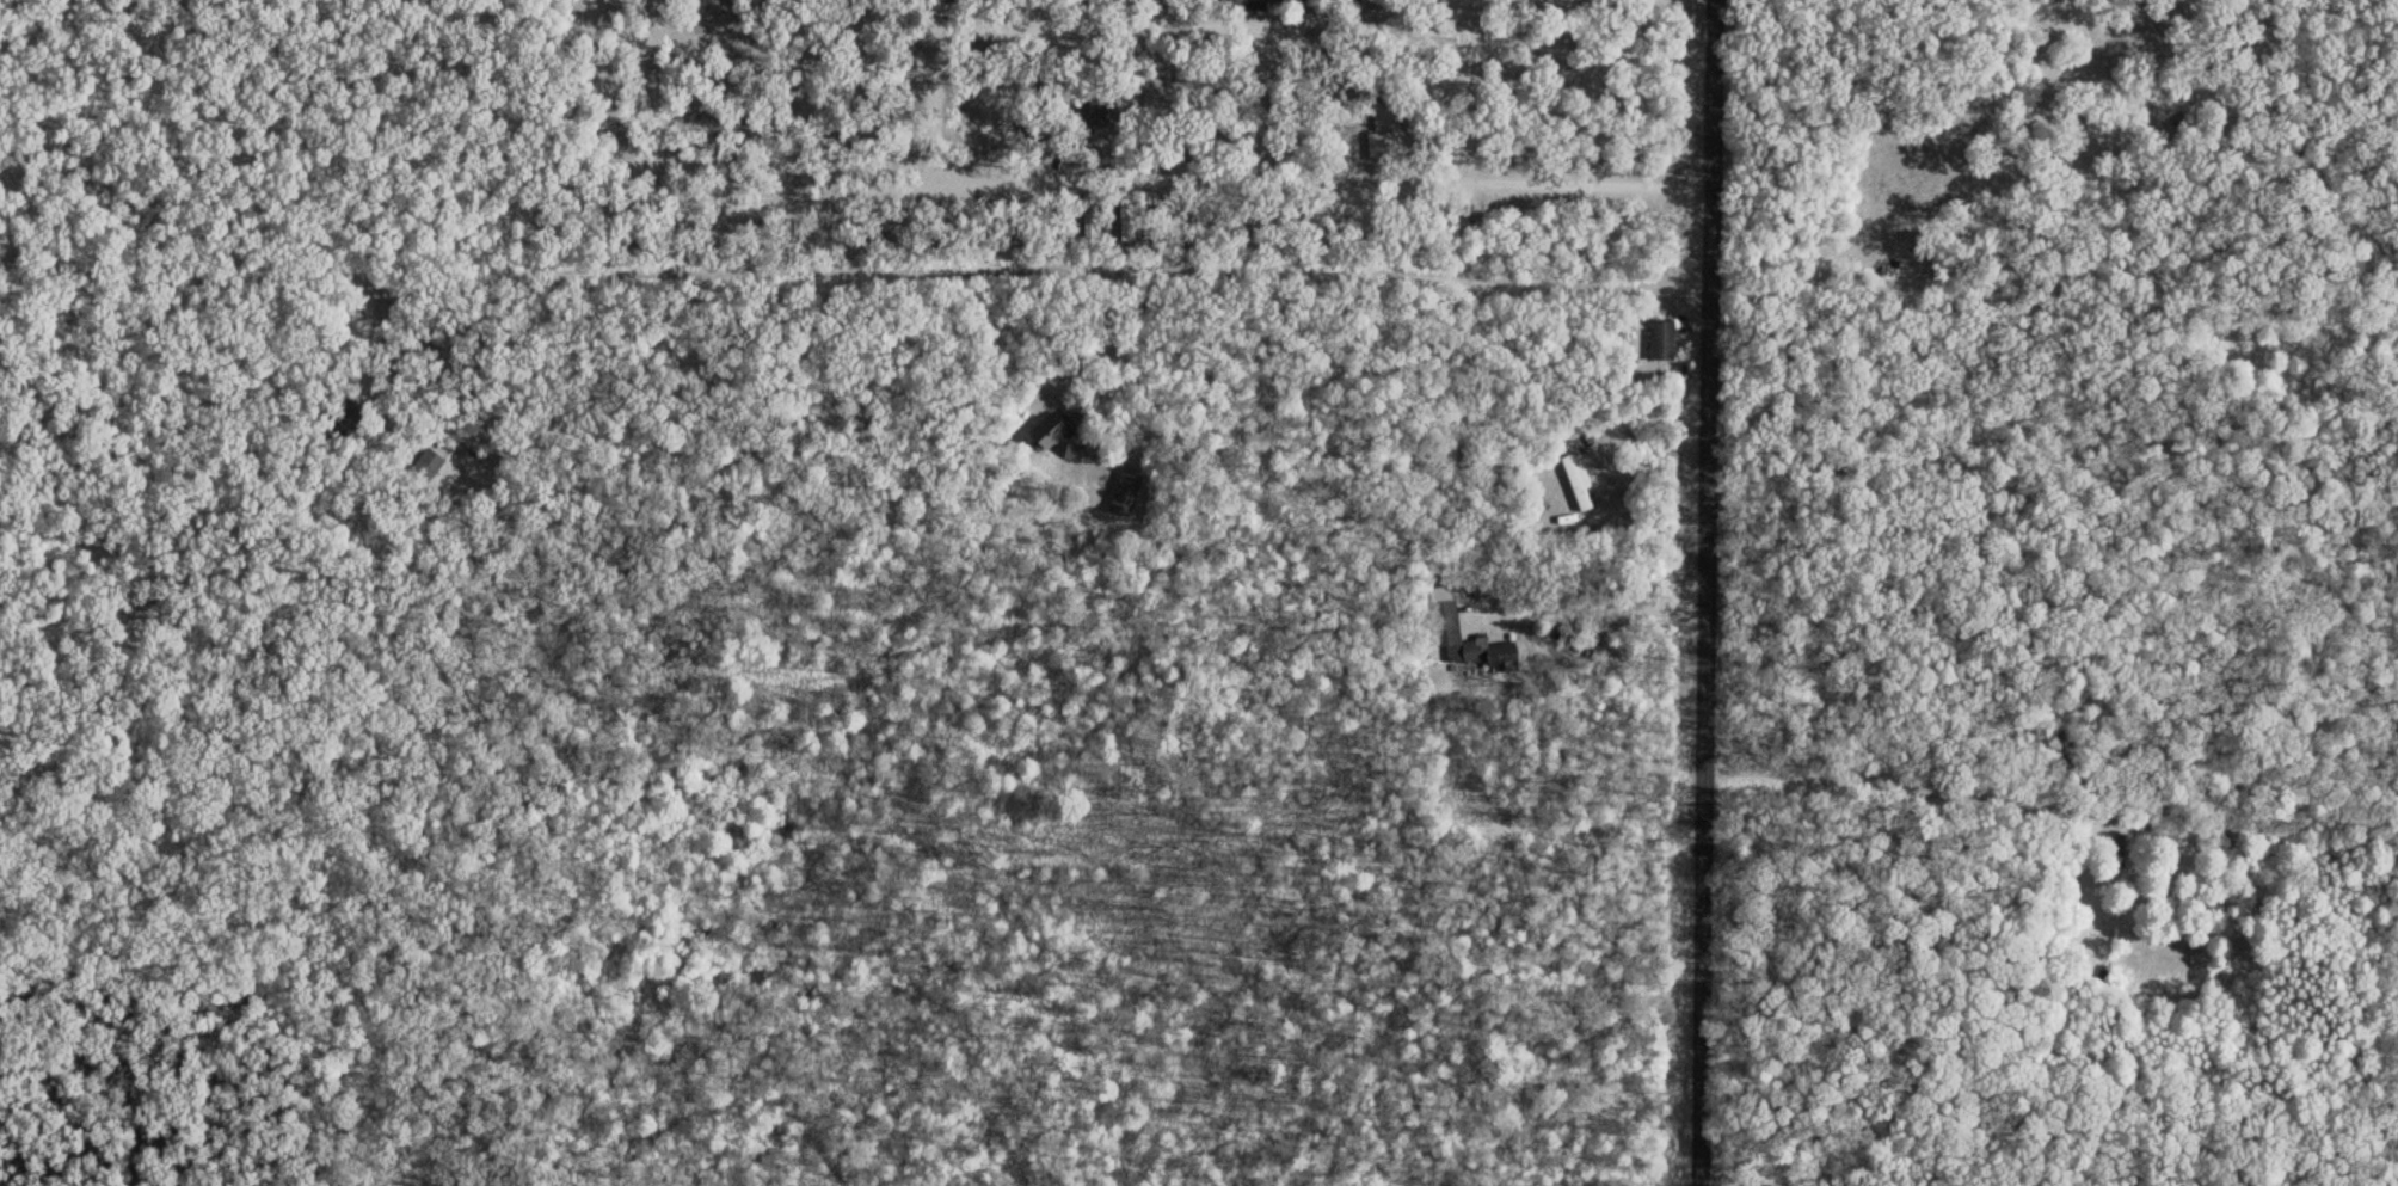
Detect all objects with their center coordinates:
building: (1441, 82)
building: (1100, 107)
building: (1381, 141)
road: (746, 195)
building: (1124, 219)
building: (1198, 222)
building: (1162, 223)
building: (871, 231)
building: (1660, 337)
building: (1047, 430)
building: (425, 461)
building: (1576, 479)
road: (1698, 592)
building: (1440, 609)
building: (2119, 847)

